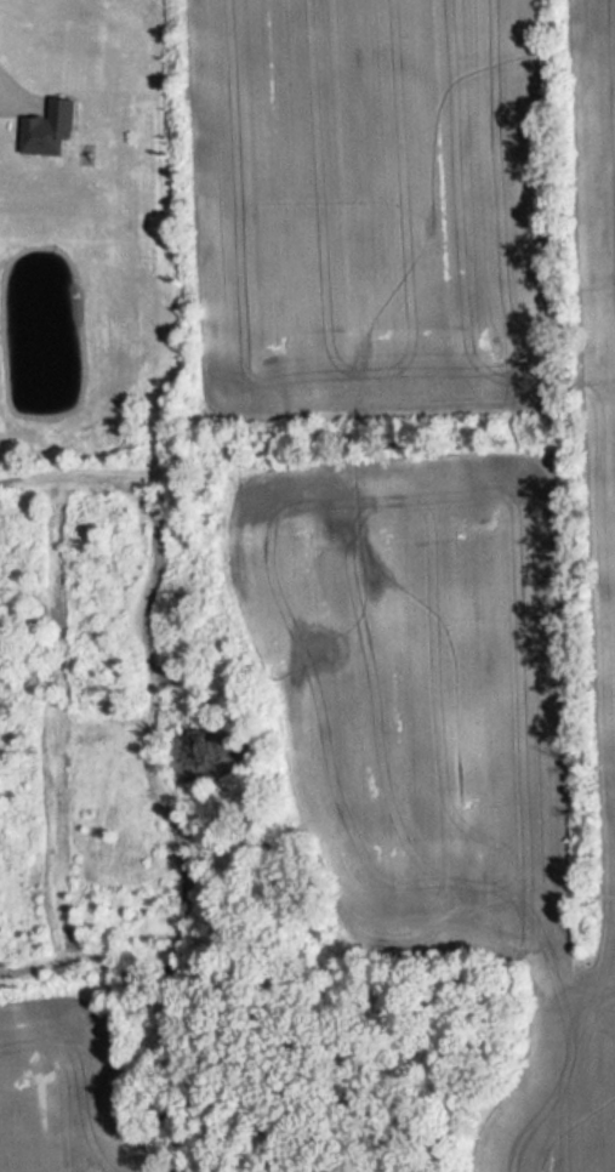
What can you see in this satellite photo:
road: (11, 91)
building: (51, 126)

